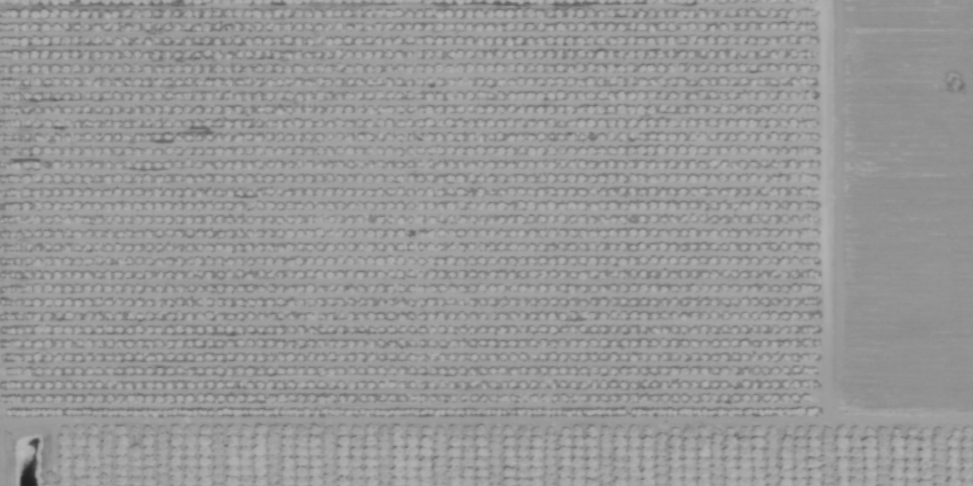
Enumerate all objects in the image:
crop: (486, 243)
road: (624, 419)
road: (901, 420)

